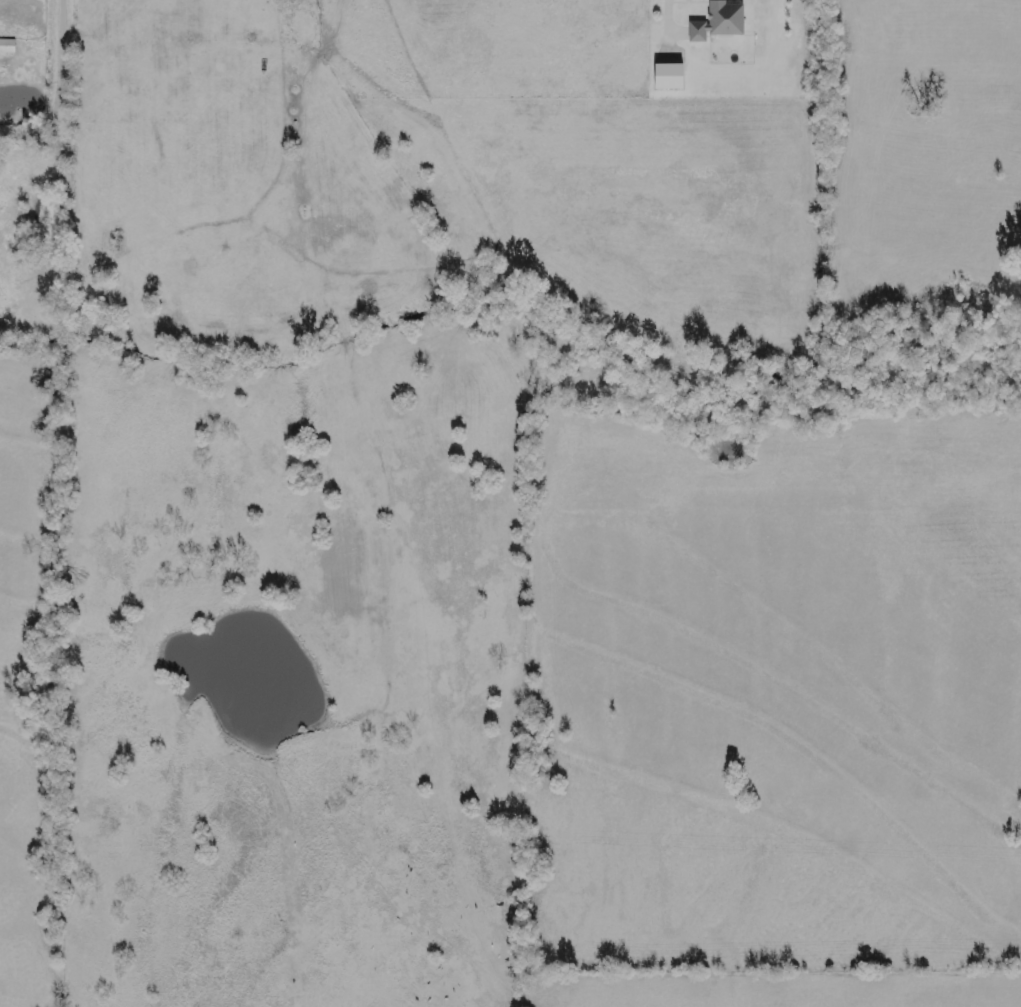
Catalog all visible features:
building: (720, 21)
building: (7, 46)
building: (669, 77)
road: (67, 94)

